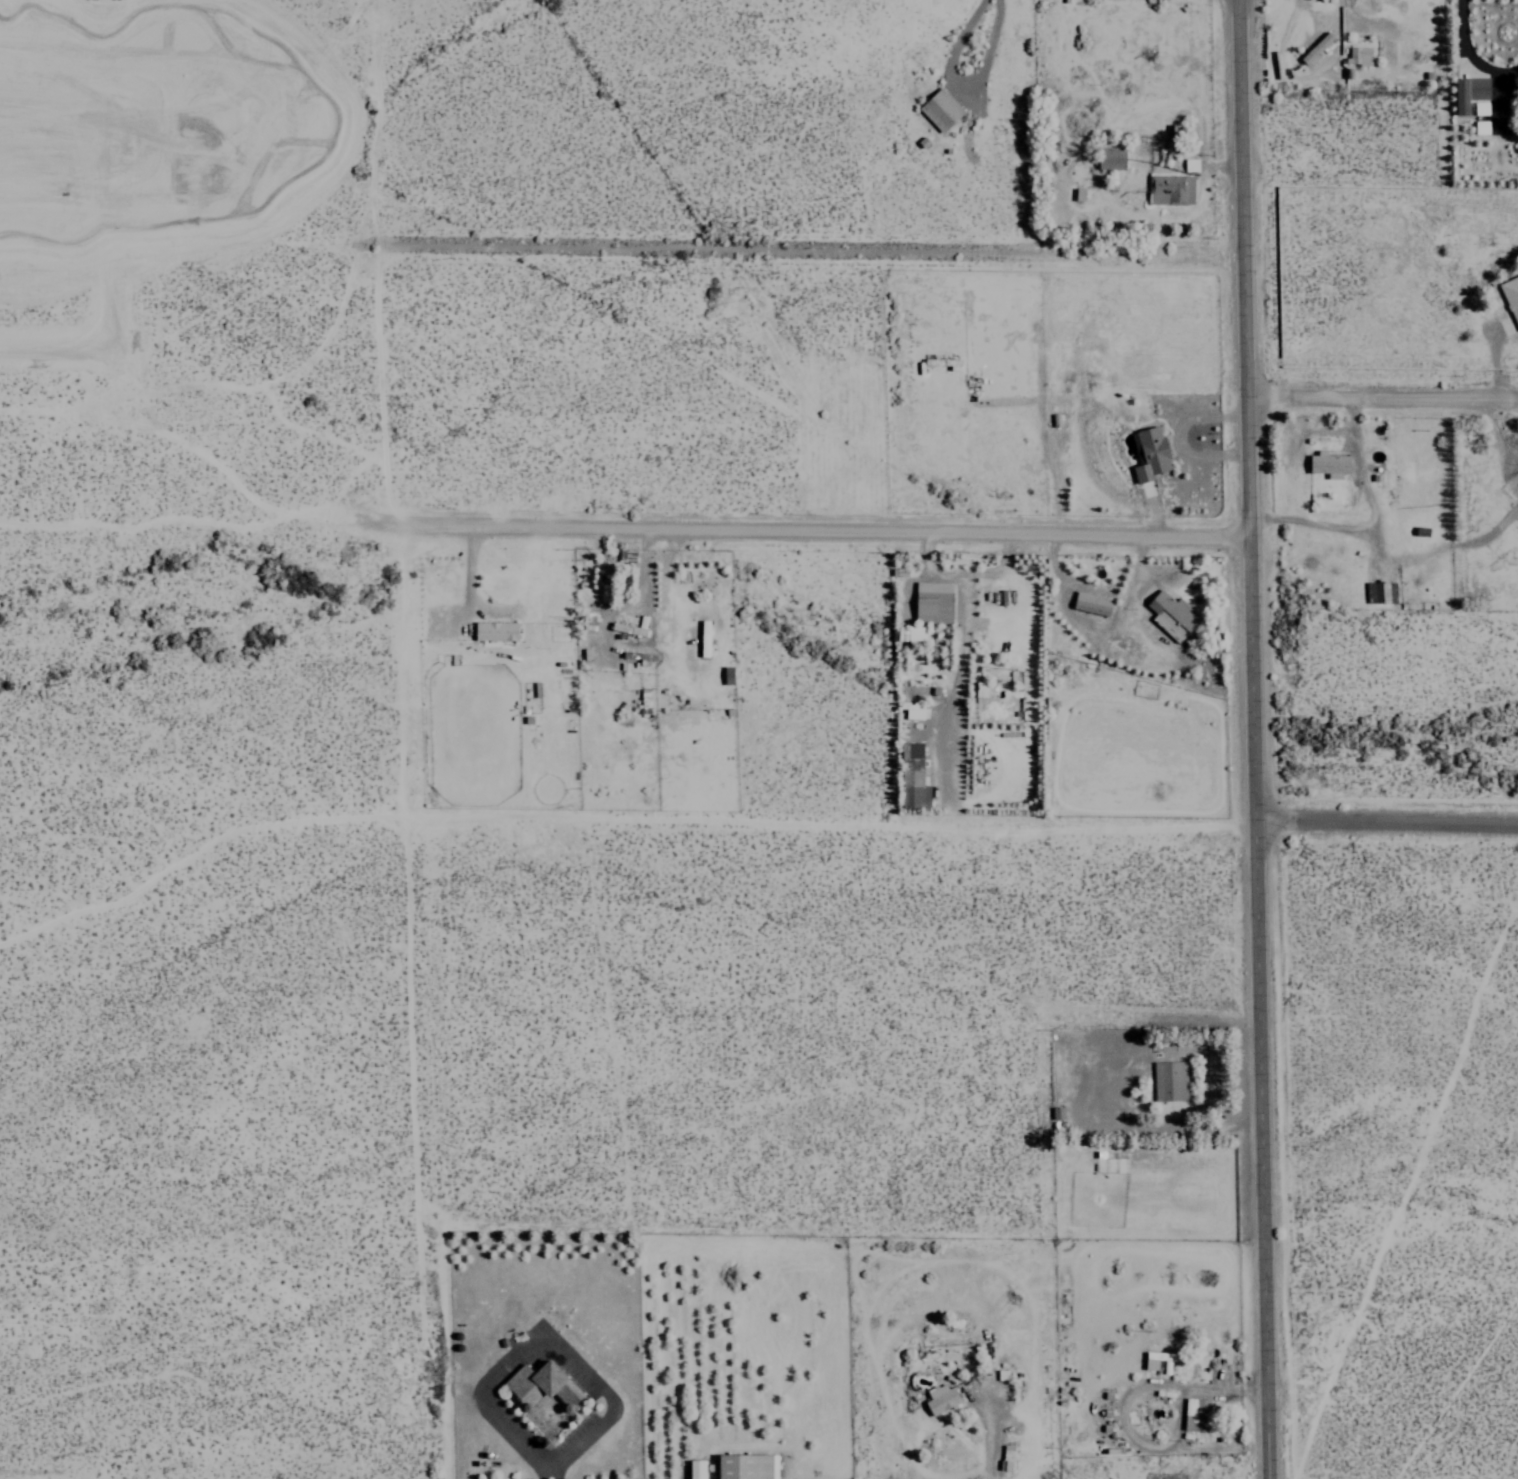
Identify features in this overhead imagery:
building: (1315, 48)
building: (1358, 55)
building: (1469, 92)
building: (1480, 108)
building: (940, 110)
building: (1481, 127)
building: (1111, 158)
building: (1190, 164)
building: (1170, 189)
road: (813, 252)
road: (1382, 390)
road: (385, 410)
building: (1151, 454)
building: (1328, 464)
road: (818, 529)
building: (1380, 592)
building: (933, 602)
building: (1091, 603)
building: (1172, 615)
building: (495, 631)
building: (915, 633)
building: (980, 689)
building: (913, 711)
road: (1252, 739)
park: (194, 750)
building: (912, 777)
road: (1386, 824)
building: (1169, 1080)
road: (418, 1150)
building: (1159, 1358)
building: (543, 1397)
building: (940, 1397)
building: (1195, 1414)
building: (1007, 1457)
building: (746, 1466)
road: (551, 1467)
building: (695, 1469)

